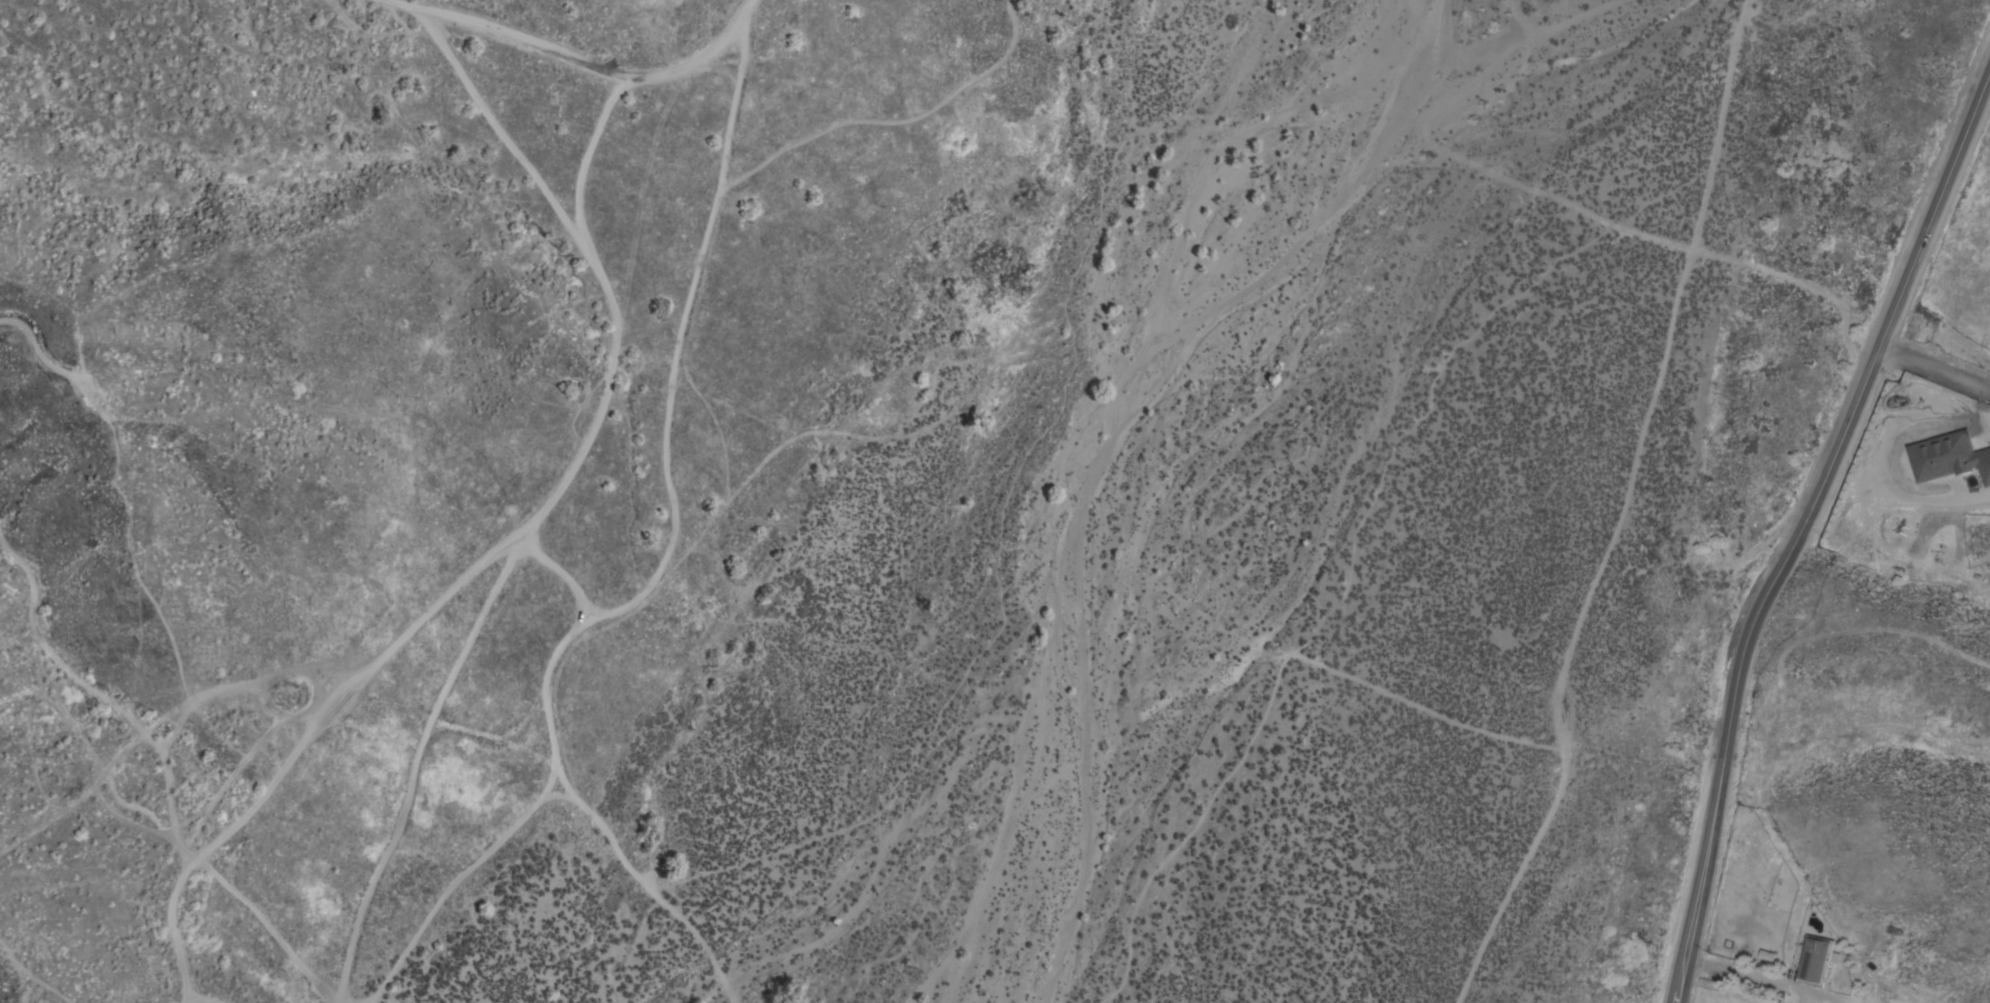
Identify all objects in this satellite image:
road: (576, 63)
road: (882, 122)
road: (499, 132)
road: (1540, 193)
road: (683, 317)
road: (54, 367)
road: (1933, 368)
road: (1082, 496)
road: (1622, 510)
road: (530, 519)
road: (1800, 525)
road: (609, 608)
road: (151, 747)
road: (415, 748)
road: (563, 769)
road: (453, 880)
building: (1817, 960)
road: (31, 976)
road: (1769, 980)
road: (198, 1000)

